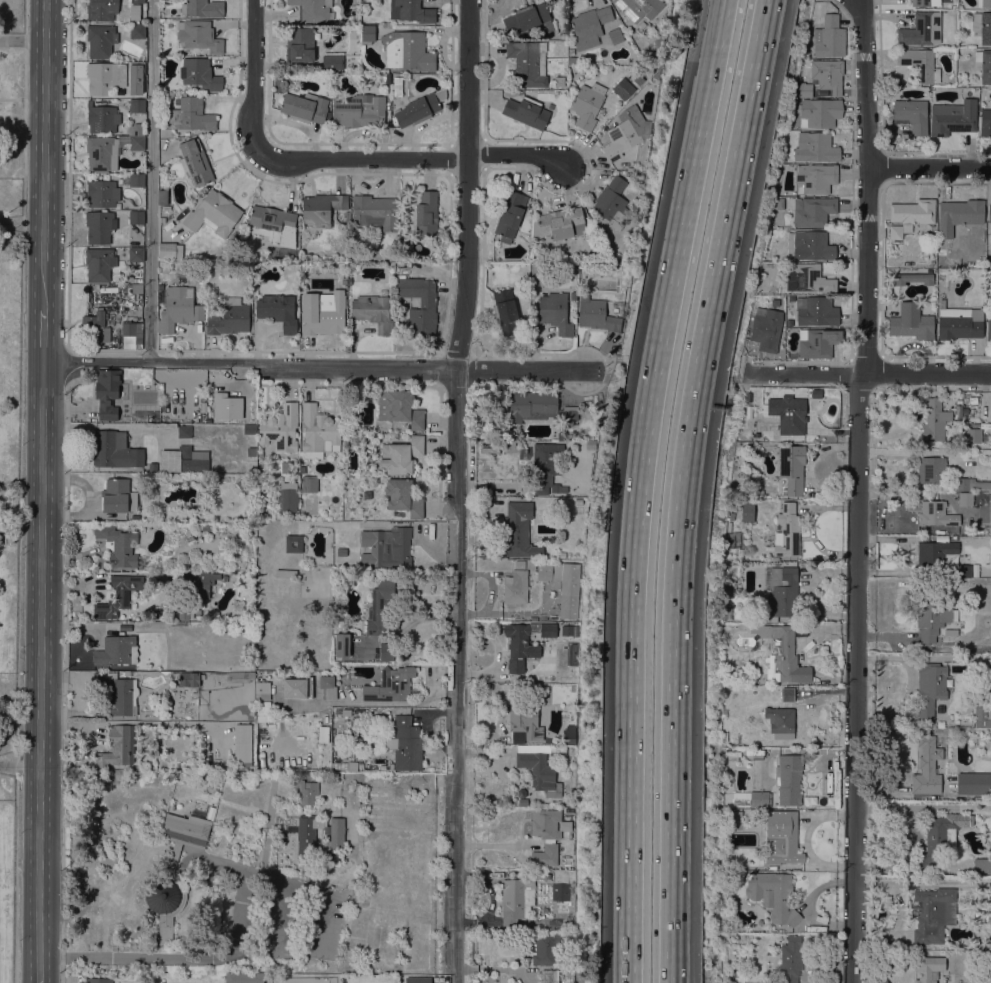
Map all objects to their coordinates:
building: (924, 3)
building: (984, 3)
building: (203, 8)
building: (638, 8)
building: (102, 9)
building: (134, 9)
building: (312, 10)
building: (411, 11)
building: (528, 18)
building: (589, 26)
building: (982, 26)
building: (922, 29)
building: (137, 31)
building: (368, 33)
building: (198, 36)
building: (563, 36)
building: (615, 37)
building: (829, 37)
road: (21, 39)
building: (101, 41)
building: (300, 45)
building: (408, 51)
building: (332, 62)
building: (528, 63)
building: (920, 64)
building: (984, 65)
building: (137, 68)
building: (199, 74)
road: (253, 75)
building: (382, 76)
building: (105, 78)
building: (823, 78)
building: (638, 80)
road: (24, 84)
building: (397, 86)
building: (623, 88)
road: (12, 99)
building: (137, 105)
building: (587, 105)
building: (305, 108)
building: (420, 108)
building: (359, 110)
building: (526, 112)
building: (819, 112)
building: (191, 115)
building: (912, 115)
building: (953, 118)
building: (102, 119)
building: (985, 122)
building: (137, 130)
building: (626, 133)
building: (816, 148)
building: (109, 151)
road: (515, 153)
road: (42, 154)
road: (363, 158)
building: (194, 163)
road: (929, 168)
building: (815, 178)
building: (136, 180)
road: (150, 180)
road: (867, 186)
building: (101, 192)
building: (162, 198)
building: (612, 203)
building: (321, 208)
building: (374, 212)
building: (814, 212)
building: (213, 214)
building: (426, 214)
building: (989, 214)
road: (68, 215)
building: (958, 215)
building: (510, 216)
building: (909, 216)
building: (136, 217)
building: (559, 224)
building: (273, 225)
building: (100, 227)
building: (809, 245)
building: (170, 251)
building: (135, 254)
building: (99, 264)
building: (809, 278)
building: (912, 279)
building: (201, 297)
building: (504, 306)
building: (427, 307)
building: (178, 308)
building: (278, 311)
building: (816, 311)
building: (373, 312)
building: (555, 313)
building: (596, 315)
building: (230, 318)
building: (327, 318)
building: (911, 322)
building: (788, 323)
building: (960, 323)
building: (94, 328)
building: (989, 328)
building: (766, 329)
building: (133, 334)
road: (42, 335)
building: (127, 335)
building: (818, 343)
road: (314, 367)
road: (67, 369)
road: (866, 372)
building: (127, 373)
building: (107, 393)
building: (226, 407)
building: (399, 408)
building: (538, 408)
building: (788, 414)
building: (934, 421)
building: (249, 429)
building: (280, 429)
building: (184, 432)
building: (318, 432)
building: (973, 436)
building: (563, 437)
building: (251, 448)
building: (115, 450)
building: (401, 455)
building: (184, 460)
building: (153, 467)
building: (286, 467)
building: (546, 468)
building: (792, 468)
building: (302, 470)
building: (932, 471)
building: (309, 484)
building: (971, 485)
building: (242, 486)
road: (641, 487)
road: (680, 487)
road: (455, 492)
building: (118, 496)
building: (287, 497)
building: (403, 497)
building: (965, 499)
building: (747, 511)
building: (936, 514)
building: (207, 527)
building: (518, 530)
building: (786, 532)
building: (293, 544)
building: (118, 545)
building: (386, 548)
building: (341, 552)
building: (934, 553)
building: (519, 564)
building: (530, 564)
building: (964, 571)
building: (285, 573)
building: (198, 584)
building: (563, 585)
building: (516, 588)
building: (782, 592)
building: (117, 596)
building: (238, 606)
building: (379, 607)
building: (184, 614)
building: (728, 614)
building: (933, 619)
building: (566, 630)
building: (950, 632)
building: (524, 643)
building: (342, 645)
building: (117, 651)
building: (386, 652)
building: (784, 653)
road: (39, 671)
building: (240, 677)
road: (855, 677)
road: (65, 679)
building: (189, 679)
building: (391, 685)
building: (327, 687)
building: (297, 688)
building: (930, 688)
building: (262, 691)
building: (166, 693)
building: (121, 695)
building: (786, 695)
building: (168, 706)
building: (263, 711)
building: (338, 711)
building: (356, 711)
building: (346, 712)
building: (981, 714)
building: (522, 718)
building: (781, 722)
building: (323, 734)
building: (731, 739)
building: (406, 744)
building: (117, 747)
building: (242, 747)
building: (555, 749)
building: (928, 765)
building: (337, 766)
building: (343, 766)
building: (352, 766)
building: (539, 772)
building: (788, 779)
building: (974, 783)
building: (307, 792)
building: (357, 793)
building: (759, 798)
building: (569, 811)
building: (735, 813)
building: (565, 826)
road: (17, 828)
building: (337, 833)
building: (545, 836)
building: (938, 836)
building: (307, 837)
building: (782, 838)
building: (982, 865)
building: (173, 871)
road: (270, 877)
building: (563, 889)
building: (773, 895)
building: (516, 900)
road: (284, 914)
building: (934, 914)
building: (977, 918)
road: (325, 923)
building: (567, 927)
building: (989, 946)
building: (548, 949)
road: (176, 958)
building: (790, 959)
building: (928, 968)
building: (548, 976)
building: (248, 978)
building: (98, 980)

